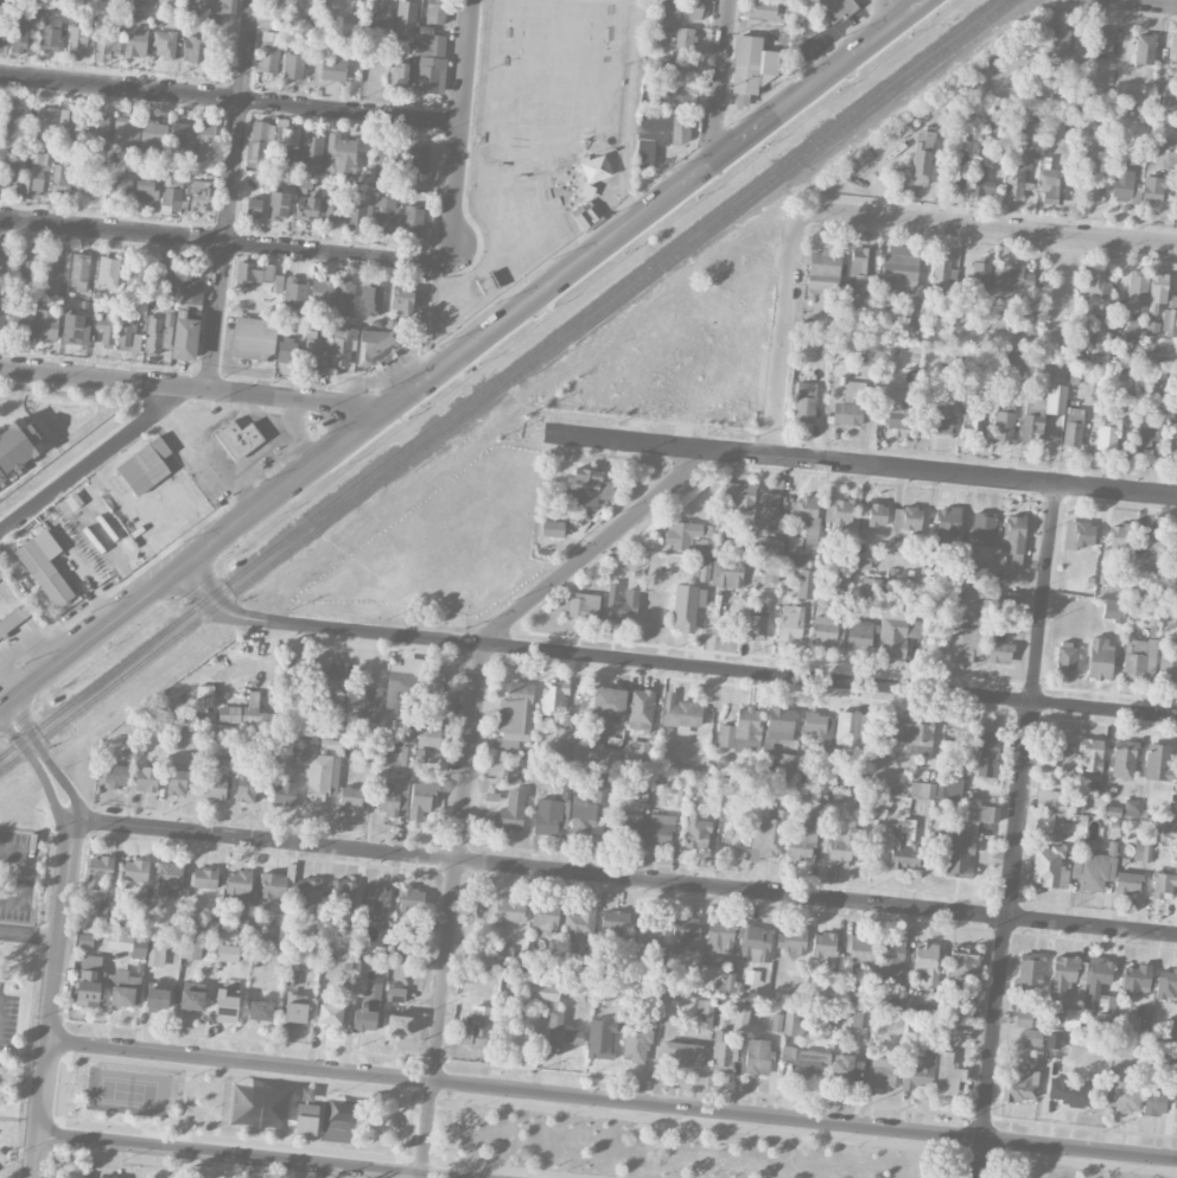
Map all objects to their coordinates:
building: (121, 0)
building: (167, 1)
building: (146, 2)
road: (1147, 2)
building: (196, 4)
building: (225, 7)
building: (683, 8)
building: (835, 8)
building: (0, 9)
building: (763, 9)
building: (435, 11)
building: (380, 13)
building: (406, 17)
road: (883, 18)
building: (50, 37)
building: (136, 37)
building: (681, 37)
building: (23, 38)
building: (1057, 42)
building: (1100, 42)
building: (76, 43)
building: (164, 44)
building: (1172, 46)
building: (106, 47)
building: (1079, 49)
building: (192, 50)
building: (1144, 50)
building: (269, 51)
building: (431, 63)
building: (686, 64)
building: (751, 64)
building: (293, 65)
building: (332, 74)
building: (396, 75)
road: (719, 83)
building: (972, 84)
building: (677, 94)
road: (230, 98)
road: (628, 113)
building: (14, 115)
building: (45, 122)
building: (66, 123)
building: (96, 127)
building: (904, 128)
building: (210, 129)
road: (460, 132)
building: (122, 134)
building: (178, 134)
building: (660, 134)
building: (152, 138)
building: (286, 141)
building: (257, 144)
building: (312, 148)
building: (339, 153)
building: (387, 155)
building: (419, 158)
building: (922, 158)
building: (596, 168)
building: (953, 168)
building: (9, 173)
building: (59, 177)
building: (982, 184)
building: (119, 185)
building: (1016, 185)
building: (1051, 185)
building: (1125, 187)
building: (1152, 190)
building: (146, 191)
building: (171, 192)
building: (201, 193)
road: (230, 195)
building: (278, 205)
building: (306, 205)
building: (253, 206)
building: (332, 209)
building: (384, 214)
building: (585, 215)
building: (357, 217)
building: (412, 221)
road: (986, 229)
road: (224, 241)
building: (4, 260)
building: (26, 261)
building: (899, 267)
building: (861, 268)
building: (825, 269)
building: (942, 270)
building: (51, 272)
building: (79, 272)
building: (108, 273)
building: (244, 273)
building: (267, 273)
building: (161, 276)
building: (1014, 276)
building: (134, 279)
building: (975, 280)
building: (191, 284)
building: (1137, 286)
building: (1158, 288)
building: (291, 289)
building: (322, 292)
building: (345, 297)
building: (373, 300)
building: (401, 301)
building: (1098, 310)
building: (1, 319)
building: (20, 323)
building: (1026, 323)
building: (46, 324)
building: (415, 324)
building: (1163, 324)
building: (106, 327)
building: (917, 327)
building: (76, 329)
building: (185, 335)
building: (125, 336)
building: (154, 336)
road: (782, 337)
building: (254, 338)
building: (343, 345)
building: (376, 346)
building: (287, 350)
building: (314, 355)
road: (464, 355)
building: (956, 356)
railway: (495, 377)
railway: (504, 384)
road: (187, 387)
building: (804, 401)
building: (850, 405)
building: (898, 408)
road: (259, 412)
building: (1041, 412)
building: (936, 415)
road: (215, 419)
building: (1003, 426)
building: (969, 428)
building: (1073, 432)
road: (291, 434)
building: (1107, 435)
building: (1146, 435)
building: (238, 439)
building: (1173, 445)
building: (17, 450)
road: (209, 459)
road: (90, 463)
road: (854, 465)
building: (144, 466)
building: (586, 488)
building: (738, 496)
building: (768, 512)
building: (806, 514)
building: (877, 514)
building: (839, 515)
building: (905, 518)
building: (947, 524)
building: (553, 528)
building: (982, 529)
building: (1077, 534)
building: (691, 536)
building: (1119, 536)
building: (1013, 541)
building: (1153, 542)
building: (768, 545)
building: (897, 546)
road: (593, 547)
building: (796, 552)
building: (863, 562)
building: (702, 571)
building: (44, 573)
building: (973, 573)
building: (771, 574)
building: (729, 575)
building: (1, 577)
building: (841, 580)
building: (806, 584)
building: (872, 587)
building: (1010, 600)
building: (622, 604)
building: (577, 605)
building: (683, 607)
building: (1113, 610)
building: (13, 618)
building: (790, 623)
building: (757, 624)
building: (825, 628)
building: (896, 631)
building: (859, 633)
building: (966, 641)
building: (999, 652)
building: (1099, 657)
building: (1065, 658)
building: (1138, 660)
building: (1168, 663)
road: (669, 667)
building: (332, 680)
building: (434, 682)
building: (401, 683)
building: (553, 696)
building: (204, 698)
building: (373, 700)
building: (606, 705)
building: (641, 709)
building: (244, 713)
building: (680, 714)
building: (514, 717)
building: (778, 725)
building: (819, 726)
building: (740, 731)
building: (430, 732)
building: (852, 732)
building: (911, 733)
building: (407, 737)
building: (564, 741)
building: (228, 745)
building: (641, 749)
building: (299, 753)
building: (984, 753)
building: (603, 754)
building: (1090, 754)
building: (405, 756)
building: (1060, 756)
building: (427, 757)
building: (1122, 759)
building: (1158, 762)
building: (784, 766)
building: (101, 772)
building: (513, 775)
building: (116, 776)
building: (145, 779)
building: (320, 779)
building: (177, 781)
building: (215, 787)
building: (949, 787)
building: (247, 788)
building: (600, 789)
building: (922, 789)
building: (284, 794)
building: (640, 796)
building: (392, 797)
building: (350, 798)
building: (421, 798)
building: (1051, 800)
building: (1076, 804)
building: (1131, 808)
building: (510, 811)
building: (986, 813)
building: (1169, 814)
building: (584, 816)
building: (1048, 821)
building: (546, 822)
building: (629, 826)
building: (695, 827)
building: (660, 829)
road: (1016, 832)
building: (768, 835)
building: (801, 840)
building: (839, 843)
building: (905, 847)
building: (1143, 849)
building: (956, 854)
building: (1176, 860)
building: (1049, 867)
building: (135, 870)
building: (98, 871)
road: (560, 871)
building: (1096, 871)
road: (27, 874)
building: (168, 877)
building: (205, 877)
building: (1127, 883)
building: (273, 885)
building: (1163, 885)
building: (241, 891)
building: (308, 893)
building: (342, 896)
building: (377, 896)
building: (411, 899)
building: (107, 908)
building: (141, 911)
road: (451, 912)
building: (545, 918)
building: (615, 922)
building: (579, 924)
building: (685, 934)
road: (30, 935)
building: (647, 938)
building: (718, 941)
building: (791, 941)
building: (128, 943)
building: (823, 944)
building: (191, 950)
building: (860, 950)
building: (227, 953)
building: (891, 961)
building: (963, 961)
building: (583, 962)
building: (925, 962)
building: (657, 967)
building: (1030, 970)
building: (1063, 973)
building: (692, 974)
building: (288, 976)
building: (1098, 978)
building: (1135, 979)
building: (89, 981)
building: (1166, 983)
building: (726, 985)
building: (122, 988)
building: (542, 992)
building: (395, 994)
building: (192, 995)
road: (55, 996)
building: (157, 998)
building: (225, 1005)
building: (368, 1007)
building: (295, 1008)
building: (260, 1010)
building: (952, 1011)
building: (705, 1012)
building: (330, 1014)
building: (740, 1017)
building: (1071, 1018)
building: (860, 1019)
building: (1026, 1019)
building: (1102, 1021)
building: (776, 1023)
building: (790, 1023)
building: (397, 1025)
building: (477, 1029)
building: (954, 1030)
building: (281, 1031)
building: (561, 1032)
building: (1032, 1037)
building: (600, 1038)
building: (636, 1044)
building: (723, 1052)
building: (683, 1053)
building: (757, 1056)
building: (806, 1064)
building: (1172, 1065)
building: (841, 1068)
building: (880, 1071)
building: (918, 1072)
building: (948, 1075)
building: (1019, 1085)
park: (129, 1088)
building: (1067, 1091)
building: (1121, 1091)
building: (1156, 1099)
road: (612, 1100)
park: (255, 1106)
building: (341, 1112)
building: (306, 1119)
building: (388, 1123)
park: (500, 1131)
road: (241, 1154)

